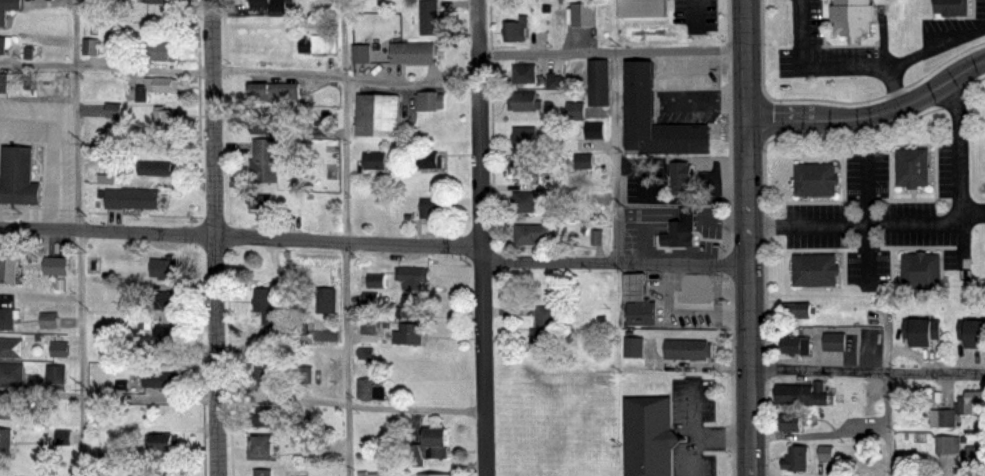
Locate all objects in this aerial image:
building: (159, 0)
building: (277, 5)
building: (953, 7)
building: (8, 8)
building: (664, 14)
building: (429, 17)
building: (853, 17)
building: (516, 30)
building: (2, 45)
building: (318, 46)
building: (90, 47)
building: (159, 51)
road: (612, 51)
building: (362, 52)
building: (413, 54)
road: (865, 63)
road: (240, 72)
building: (523, 74)
building: (597, 80)
building: (3, 83)
building: (162, 83)
road: (895, 86)
building: (641, 92)
building: (277, 96)
building: (425, 101)
building: (526, 102)
building: (571, 110)
road: (872, 114)
building: (380, 115)
building: (167, 119)
building: (268, 123)
building: (592, 130)
building: (525, 137)
road: (52, 153)
road: (616, 158)
building: (266, 159)
building: (912, 160)
building: (376, 161)
building: (431, 161)
building: (580, 161)
building: (523, 166)
building: (157, 167)
building: (678, 169)
building: (105, 173)
building: (815, 174)
building: (18, 175)
building: (133, 199)
building: (260, 201)
building: (527, 201)
building: (433, 207)
road: (925, 220)
building: (681, 223)
building: (531, 233)
road: (241, 236)
road: (81, 237)
road: (215, 237)
road: (347, 237)
road: (481, 238)
road: (748, 238)
building: (8, 261)
building: (921, 263)
building: (55, 264)
building: (91, 264)
road: (615, 264)
building: (815, 265)
building: (164, 267)
building: (413, 275)
building: (373, 280)
building: (630, 287)
building: (690, 294)
building: (157, 300)
building: (368, 300)
building: (326, 301)
building: (264, 305)
building: (413, 306)
building: (791, 311)
building: (642, 312)
building: (5, 320)
building: (47, 321)
building: (546, 328)
building: (411, 331)
building: (920, 333)
building: (166, 334)
building: (973, 334)
building: (835, 341)
building: (686, 344)
building: (630, 347)
building: (11, 348)
building: (792, 348)
building: (56, 349)
building: (363, 355)
road: (868, 370)
building: (12, 374)
building: (262, 374)
building: (304, 374)
building: (53, 375)
building: (161, 377)
building: (371, 389)
building: (805, 393)
road: (243, 399)
building: (972, 404)
building: (5, 409)
building: (943, 417)
building: (264, 419)
crop: (554, 421)
building: (786, 422)
road: (885, 423)
parking lot: (697, 426)
building: (650, 433)
building: (61, 437)
road: (704, 437)
building: (432, 438)
building: (5, 439)
building: (163, 439)
building: (264, 447)
building: (954, 447)
building: (313, 448)
building: (821, 453)
building: (796, 457)
building: (974, 458)
building: (262, 473)
building: (383, 474)
building: (436, 475)

